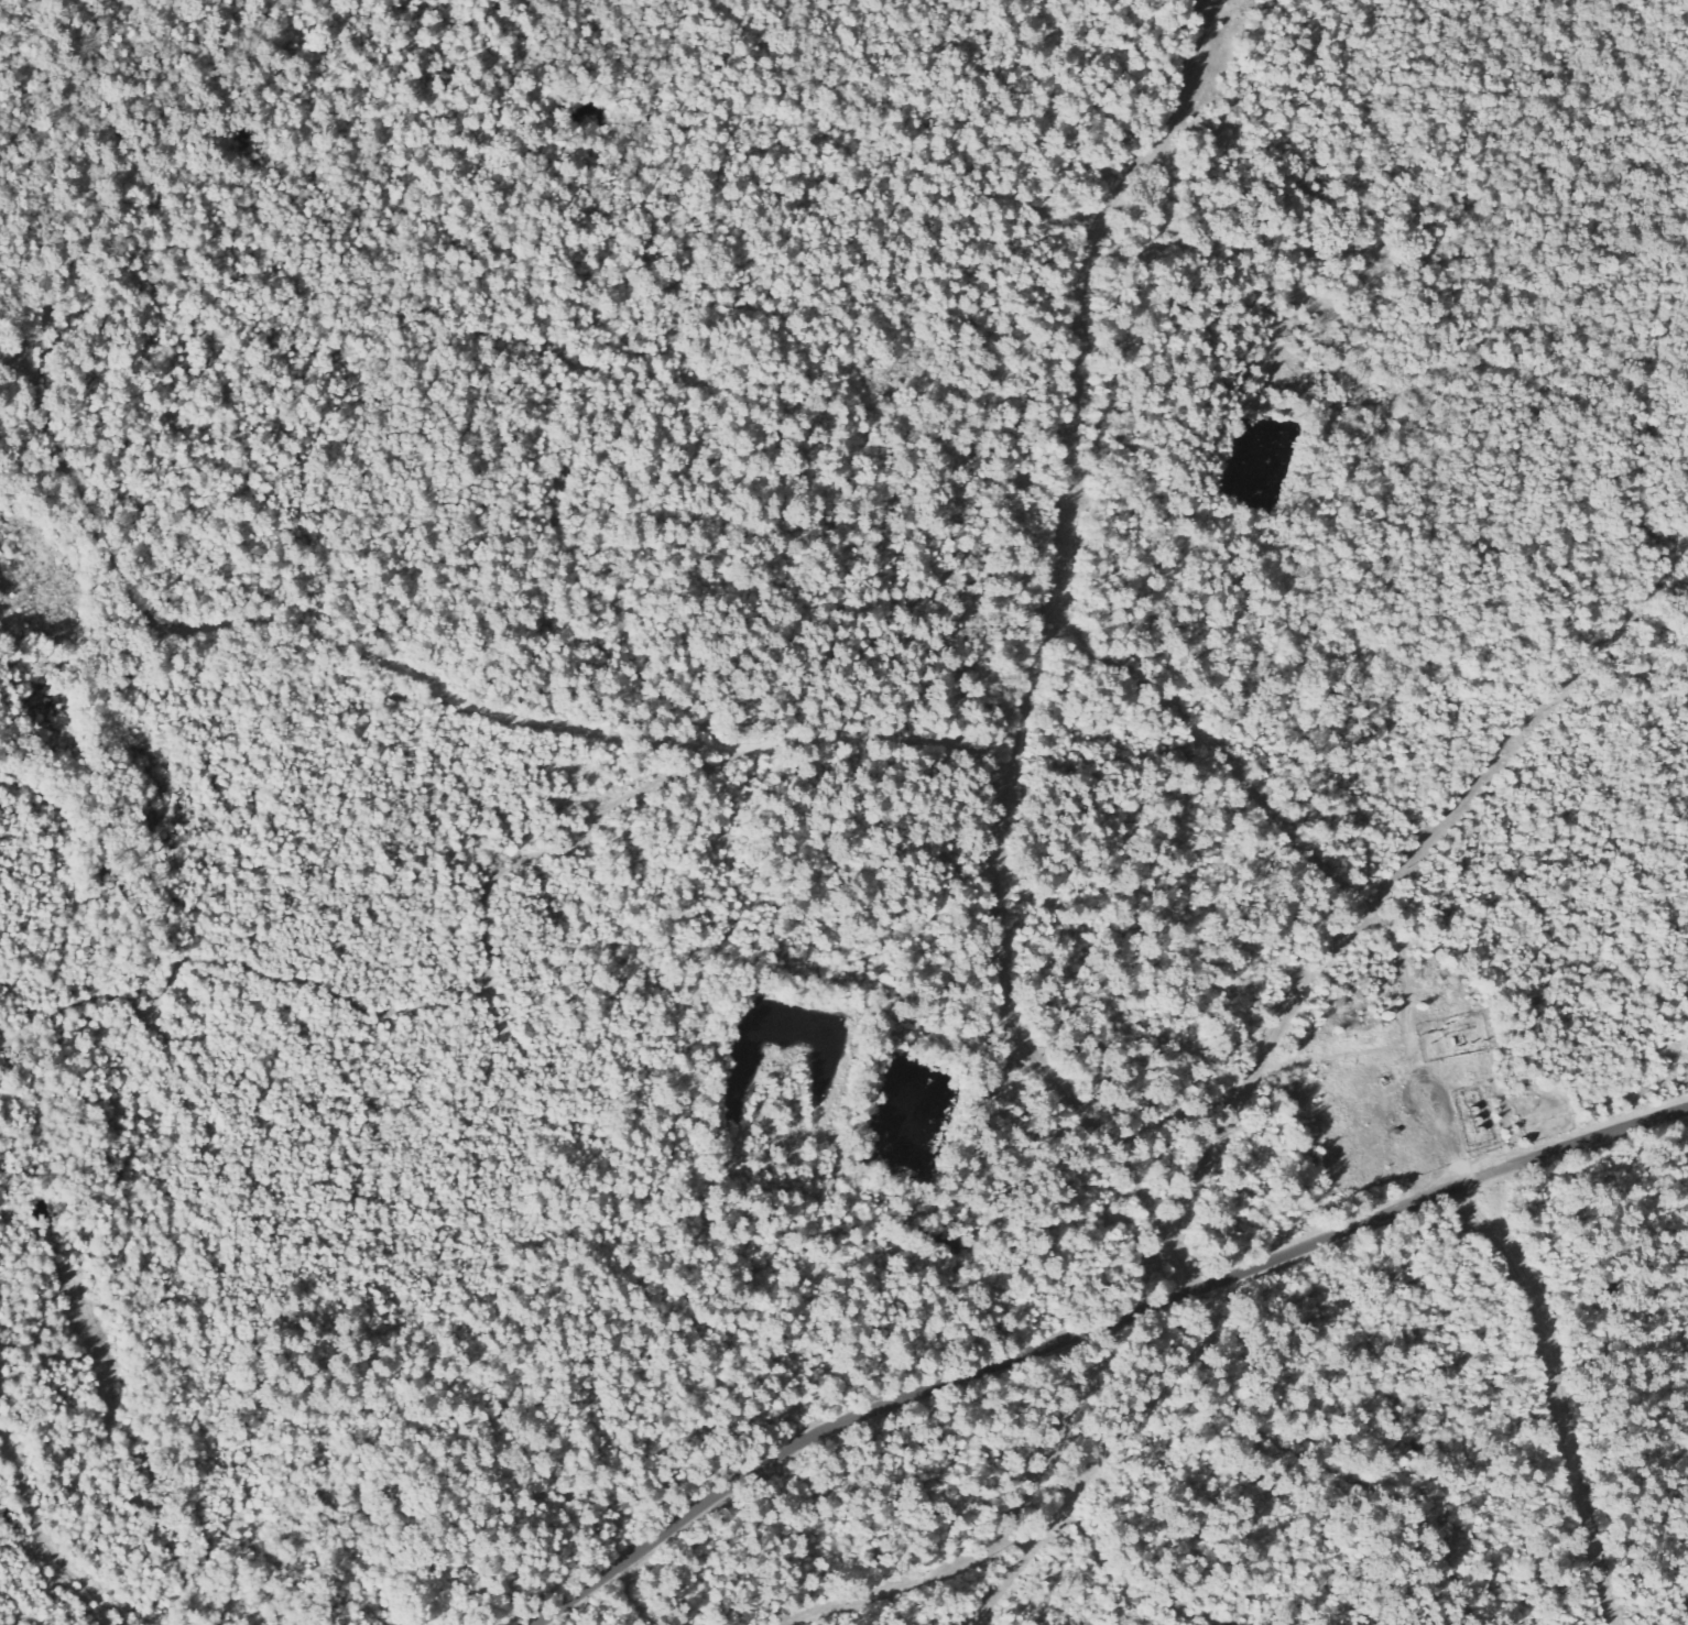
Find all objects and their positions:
road: (1091, 1328)

